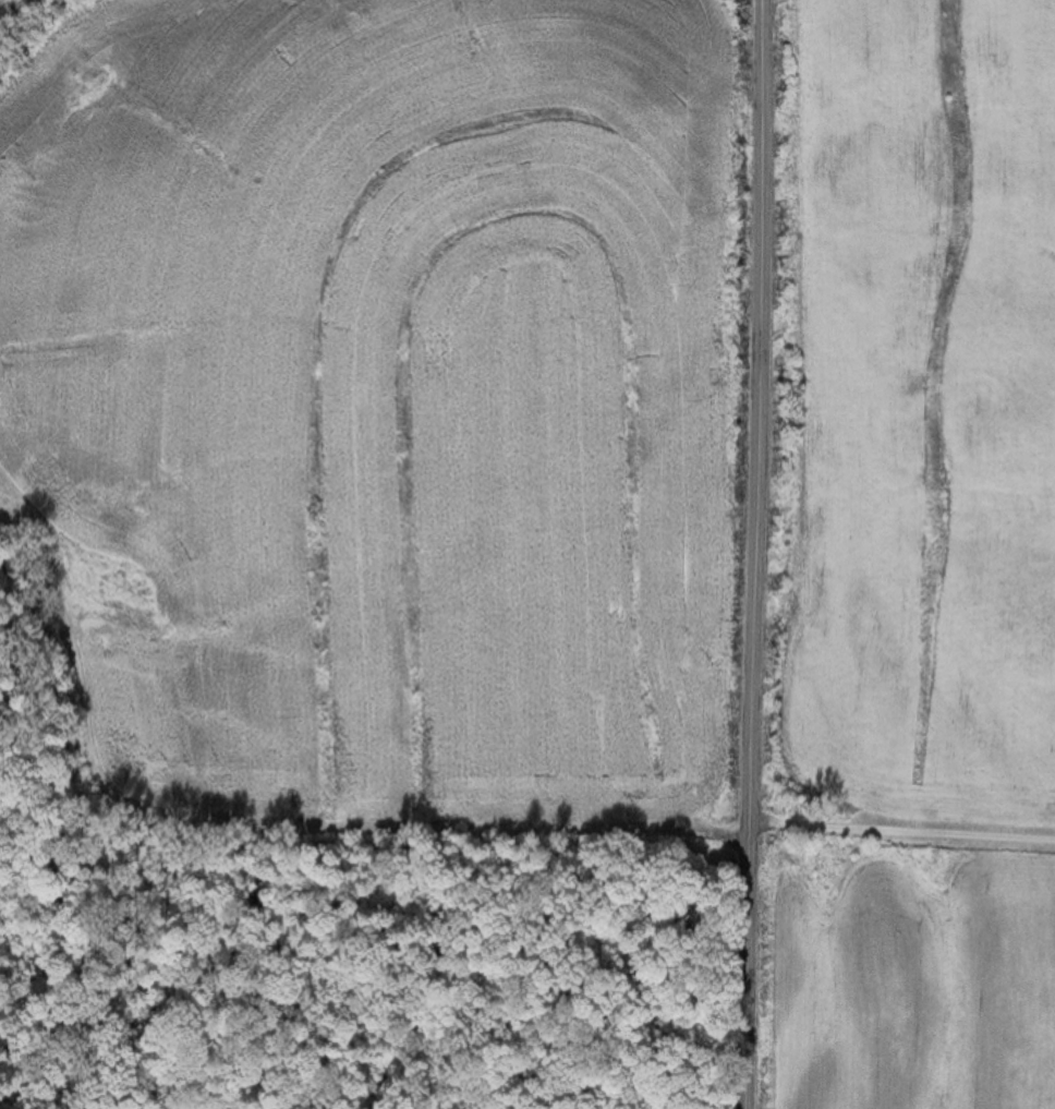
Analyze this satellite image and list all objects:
road: (756, 554)
road: (904, 832)

